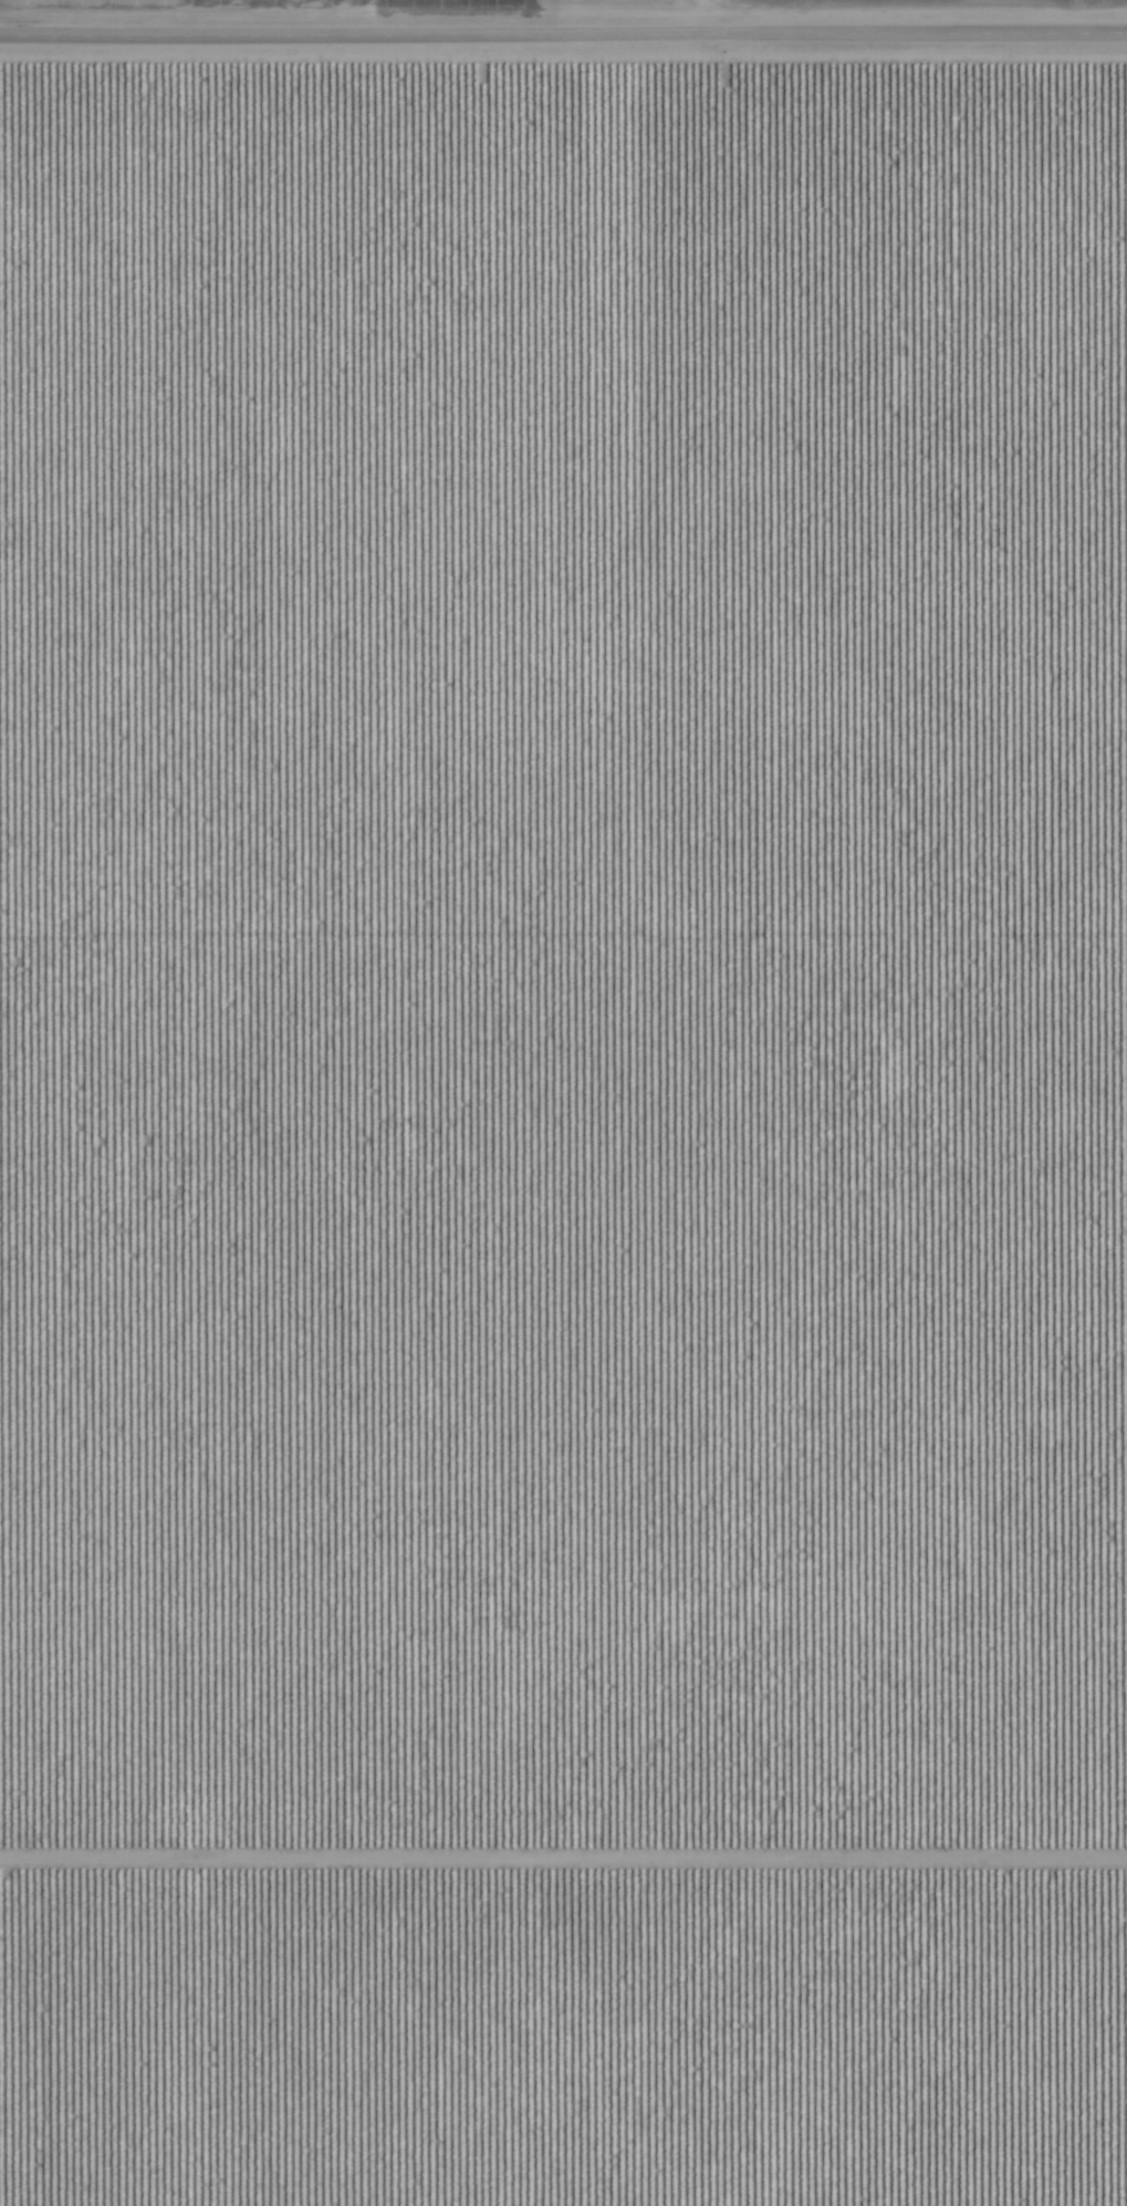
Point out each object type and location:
road: (563, 37)
crop: (563, 1103)
road: (563, 1862)

